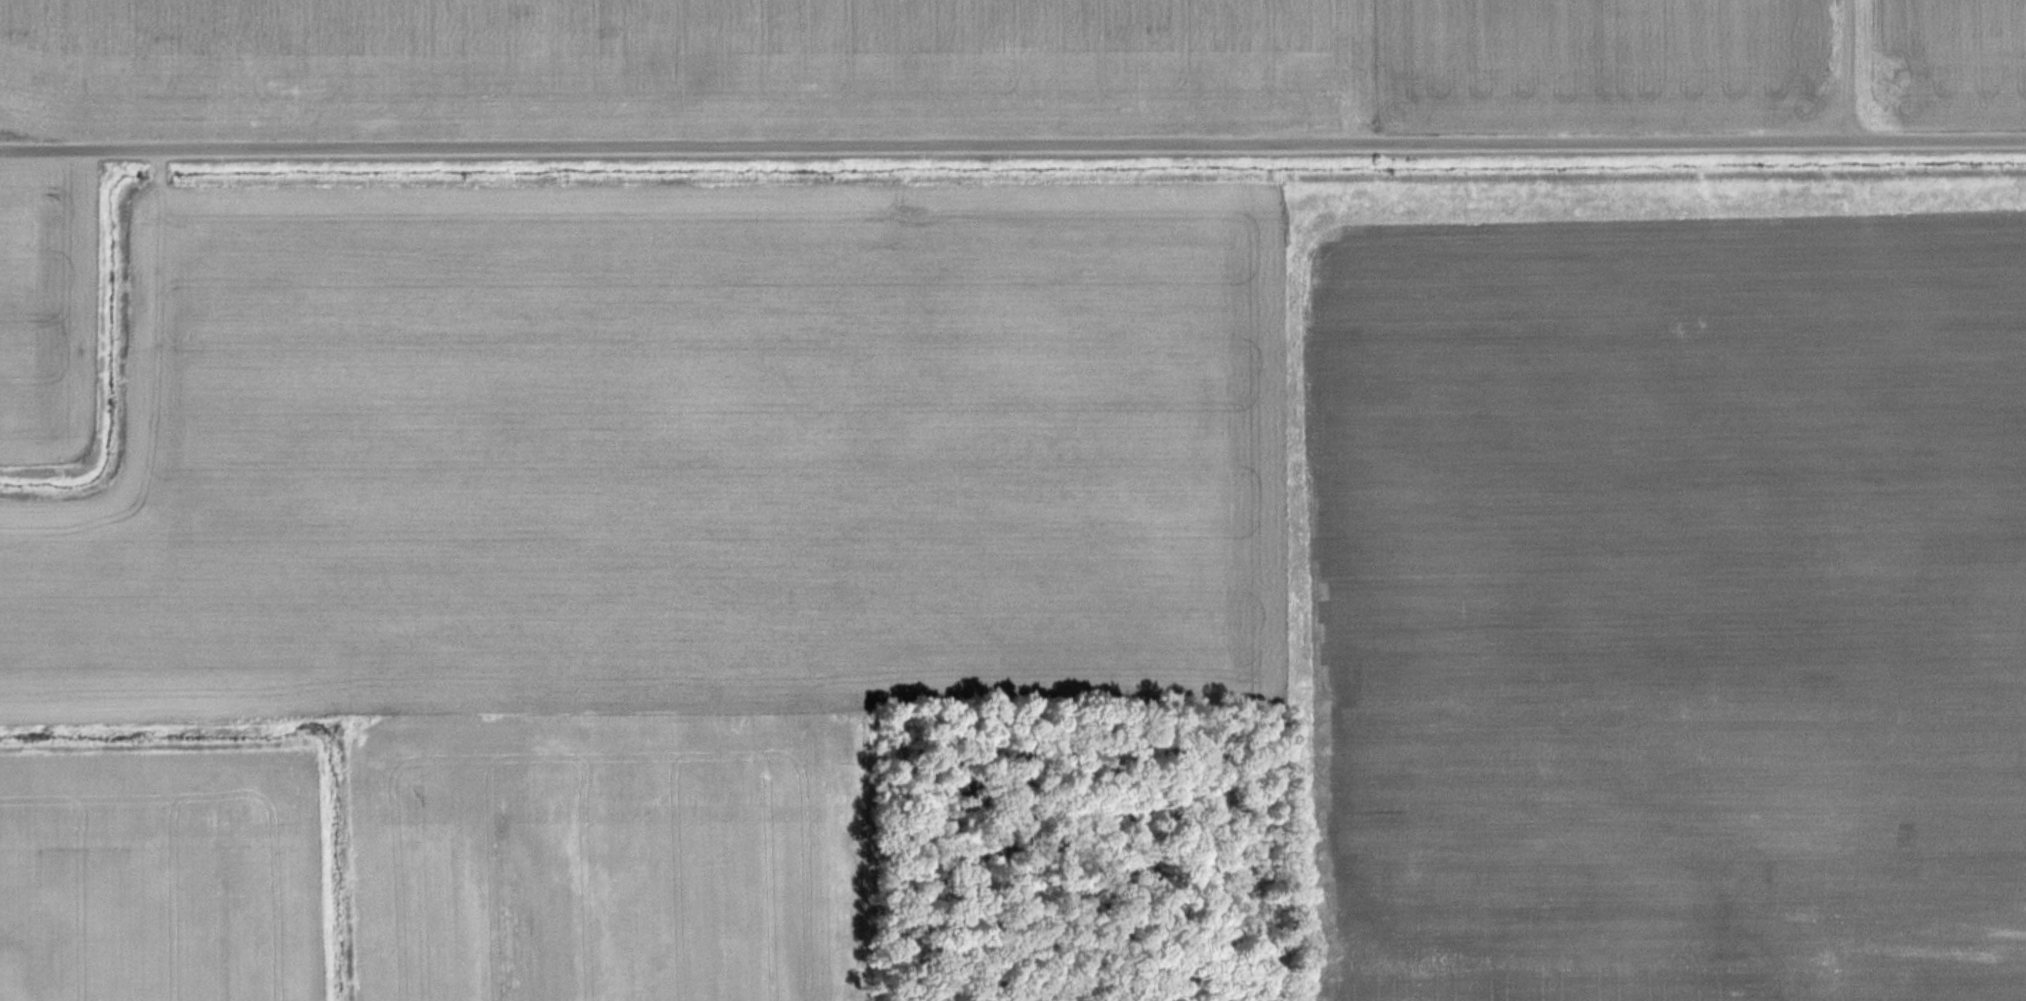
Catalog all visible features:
road: (1012, 148)

